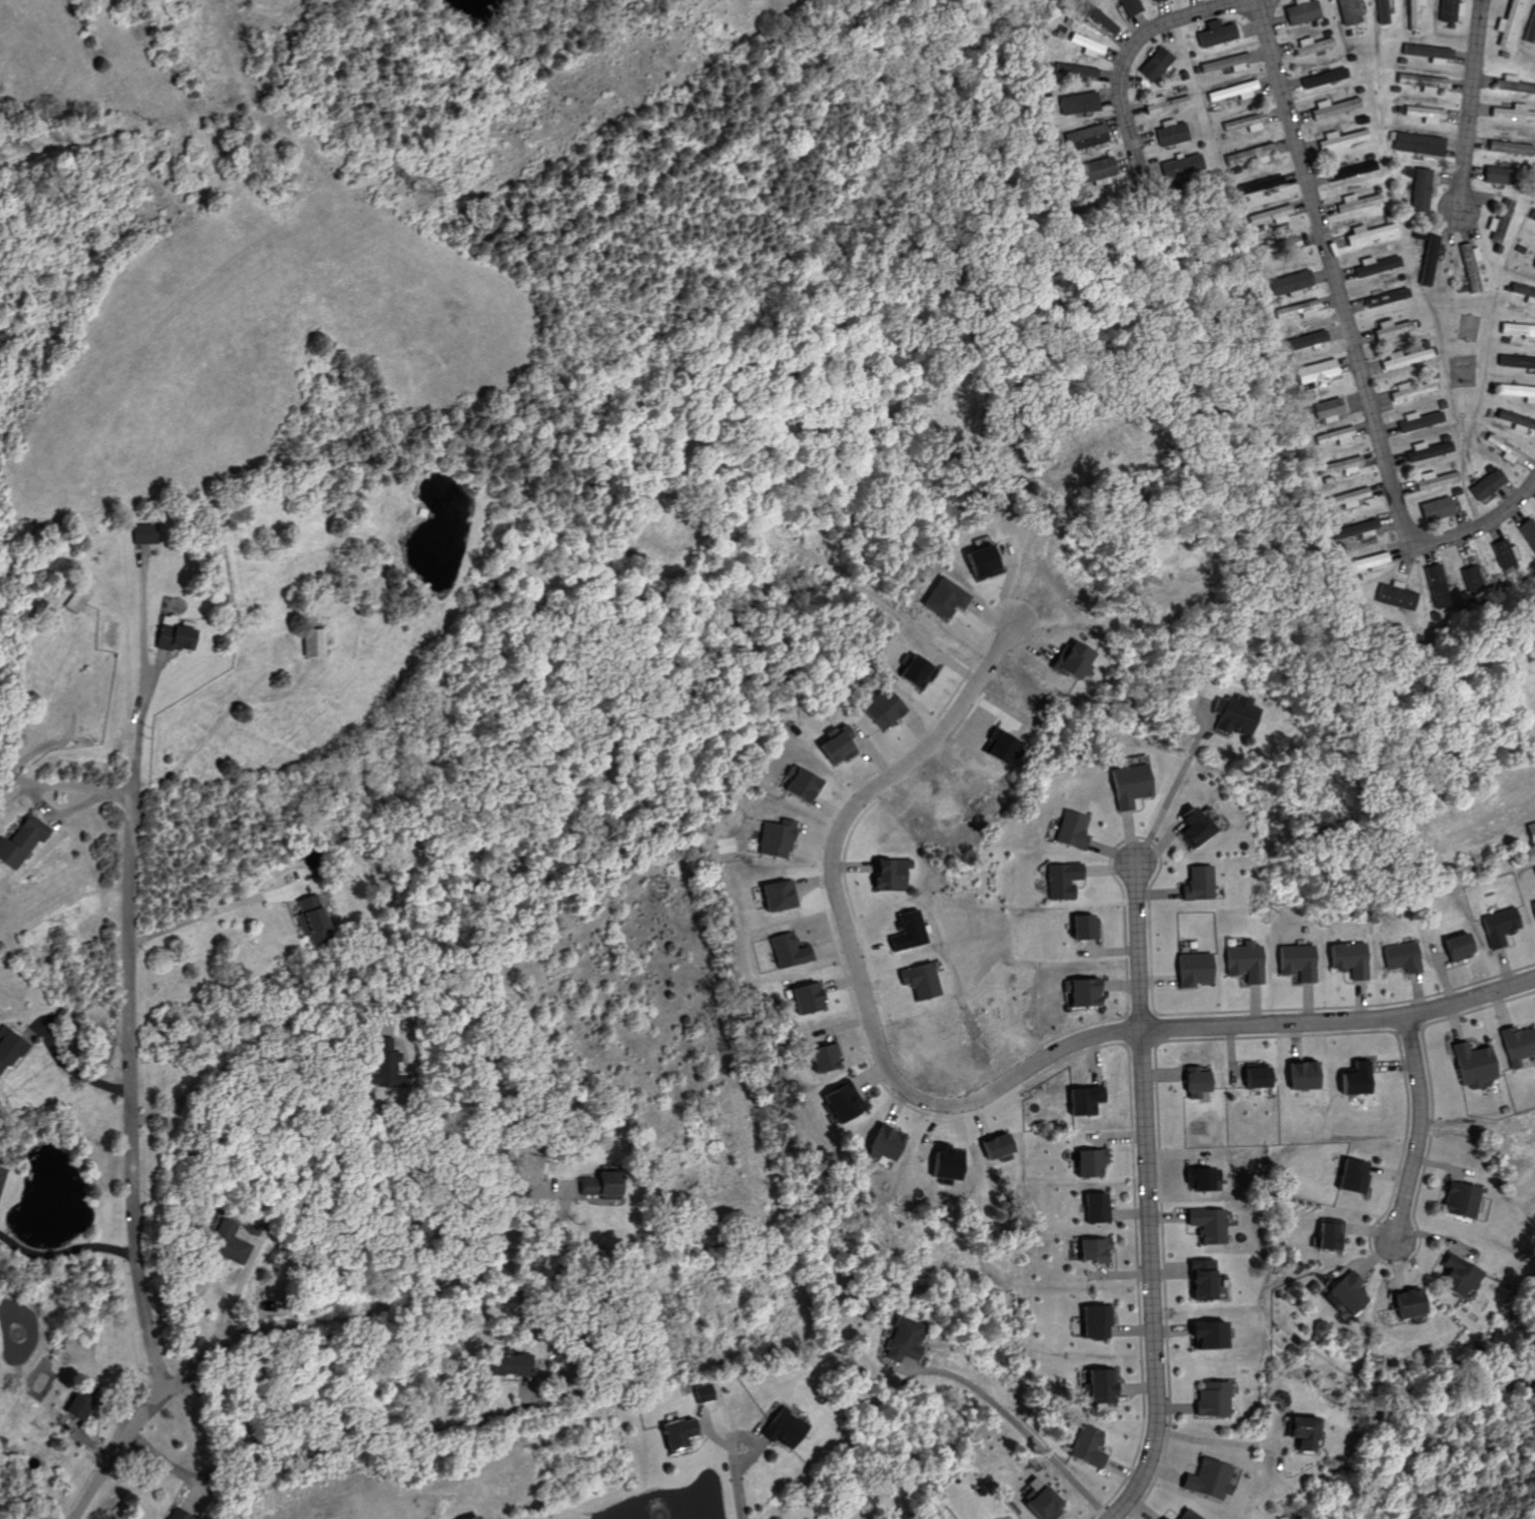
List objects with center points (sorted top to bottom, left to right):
building: (1154, 0)
building: (1129, 7)
building: (1452, 10)
building: (1302, 11)
building: (1351, 12)
building: (1386, 12)
building: (1417, 15)
building: (1100, 20)
building: (1510, 24)
building: (1532, 31)
building: (1216, 35)
building: (1086, 45)
building: (1314, 46)
road: (1128, 56)
building: (1227, 63)
building: (1155, 64)
building: (1075, 70)
building: (1324, 78)
building: (1410, 78)
building: (1235, 91)
building: (1078, 103)
building: (1167, 104)
road: (1471, 106)
building: (1336, 108)
building: (1513, 112)
building: (1429, 114)
building: (1247, 123)
building: (1171, 134)
building: (1086, 137)
building: (1344, 139)
building: (1420, 143)
building: (1509, 148)
building: (1250, 156)
building: (1181, 167)
building: (1094, 170)
building: (1352, 170)
building: (1495, 175)
building: (1263, 184)
building: (1420, 187)
power tower: (425, 194)
building: (1357, 203)
building: (1272, 215)
building: (1531, 216)
building: (1500, 221)
building: (1369, 233)
building: (1428, 260)
building: (1534, 264)
building: (1470, 266)
building: (1376, 267)
building: (1290, 284)
building: (1523, 292)
building: (1384, 298)
building: (1299, 309)
building: (1390, 328)
building: (1518, 330)
building: (1307, 341)
road: (1352, 341)
building: (1403, 358)
building: (1515, 362)
building: (1316, 371)
building: (1412, 389)
building: (1517, 392)
building: (1327, 410)
building: (1417, 421)
building: (1515, 421)
building: (1335, 437)
building: (1505, 449)
building: (1426, 450)
building: (1341, 466)
building: (1433, 480)
building: (1485, 484)
building: (1346, 499)
building: (1434, 509)
building: (1356, 530)
building: (1528, 532)
building: (1504, 552)
building: (978, 560)
building: (1367, 563)
building: (1469, 574)
building: (1434, 581)
building: (1395, 595)
building: (941, 598)
road: (142, 627)
building: (172, 635)
building: (311, 643)
building: (1069, 660)
building: (912, 672)
building: (881, 708)
building: (1231, 715)
road: (140, 725)
building: (834, 747)
building: (998, 748)
road: (63, 784)
building: (1128, 785)
building: (798, 786)
road: (1174, 792)
building: (1189, 827)
building: (1069, 830)
building: (1529, 833)
building: (775, 839)
building: (27, 841)
building: (888, 874)
building: (1060, 880)
building: (1195, 884)
building: (776, 896)
road: (211, 906)
building: (1532, 910)
building: (308, 913)
building: (1496, 926)
building: (1082, 927)
building: (906, 932)
building: (1455, 947)
building: (787, 951)
building: (1399, 957)
building: (1345, 960)
building: (1242, 962)
building: (1294, 962)
building: (1192, 969)
building: (917, 981)
building: (1085, 993)
building: (803, 999)
building: (1515, 1045)
building: (12, 1048)
building: (823, 1058)
building: (383, 1064)
road: (252, 1065)
building: (1470, 1065)
road: (77, 1069)
building: (1254, 1076)
building: (1300, 1076)
building: (1353, 1079)
building: (1194, 1082)
road: (959, 1100)
building: (1078, 1101)
building: (841, 1102)
road: (1416, 1130)
building: (882, 1145)
building: (1085, 1163)
building: (943, 1164)
building: (531, 1168)
road: (129, 1174)
building: (1347, 1177)
building: (2, 1179)
building: (1198, 1180)
building: (597, 1185)
road: (1147, 1198)
building: (1457, 1201)
building: (1093, 1209)
building: (1205, 1225)
building: (1325, 1236)
building: (228, 1243)
road: (64, 1250)
building: (1091, 1251)
building: (1457, 1277)
building: (1200, 1280)
building: (1346, 1293)
road: (379, 1303)
building: (1406, 1304)
building: (1092, 1320)
building: (1203, 1333)
building: (900, 1340)
building: (498, 1365)
building: (1097, 1385)
building: (1209, 1398)
building: (780, 1427)
road: (1020, 1427)
building: (1298, 1431)
building: (673, 1435)
road: (747, 1435)
road: (347, 1437)
road: (1216, 1441)
building: (1082, 1445)
building: (1204, 1478)
road: (740, 1495)
building: (1037, 1501)
building: (1182, 1515)
building: (467, 1516)
building: (1159, 1517)

